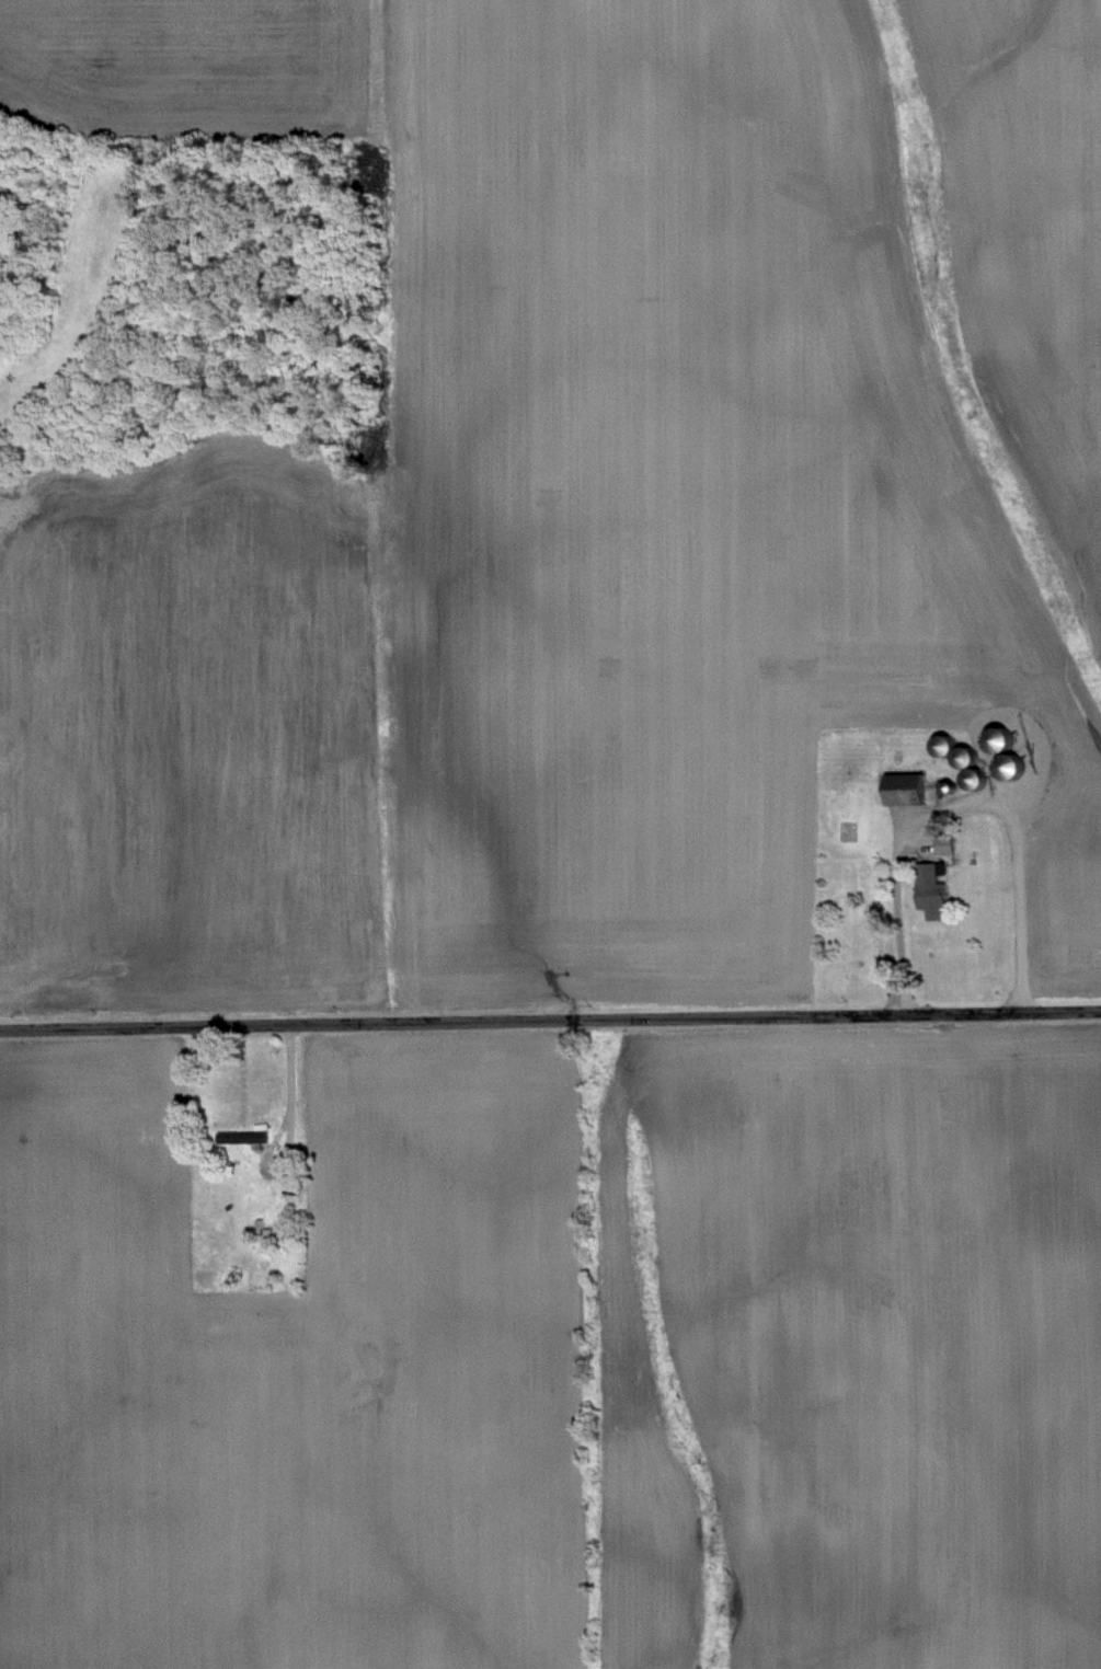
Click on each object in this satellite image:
building: (901, 787)
road: (961, 806)
building: (929, 888)
road: (550, 1022)
road: (288, 1131)
building: (240, 1136)

